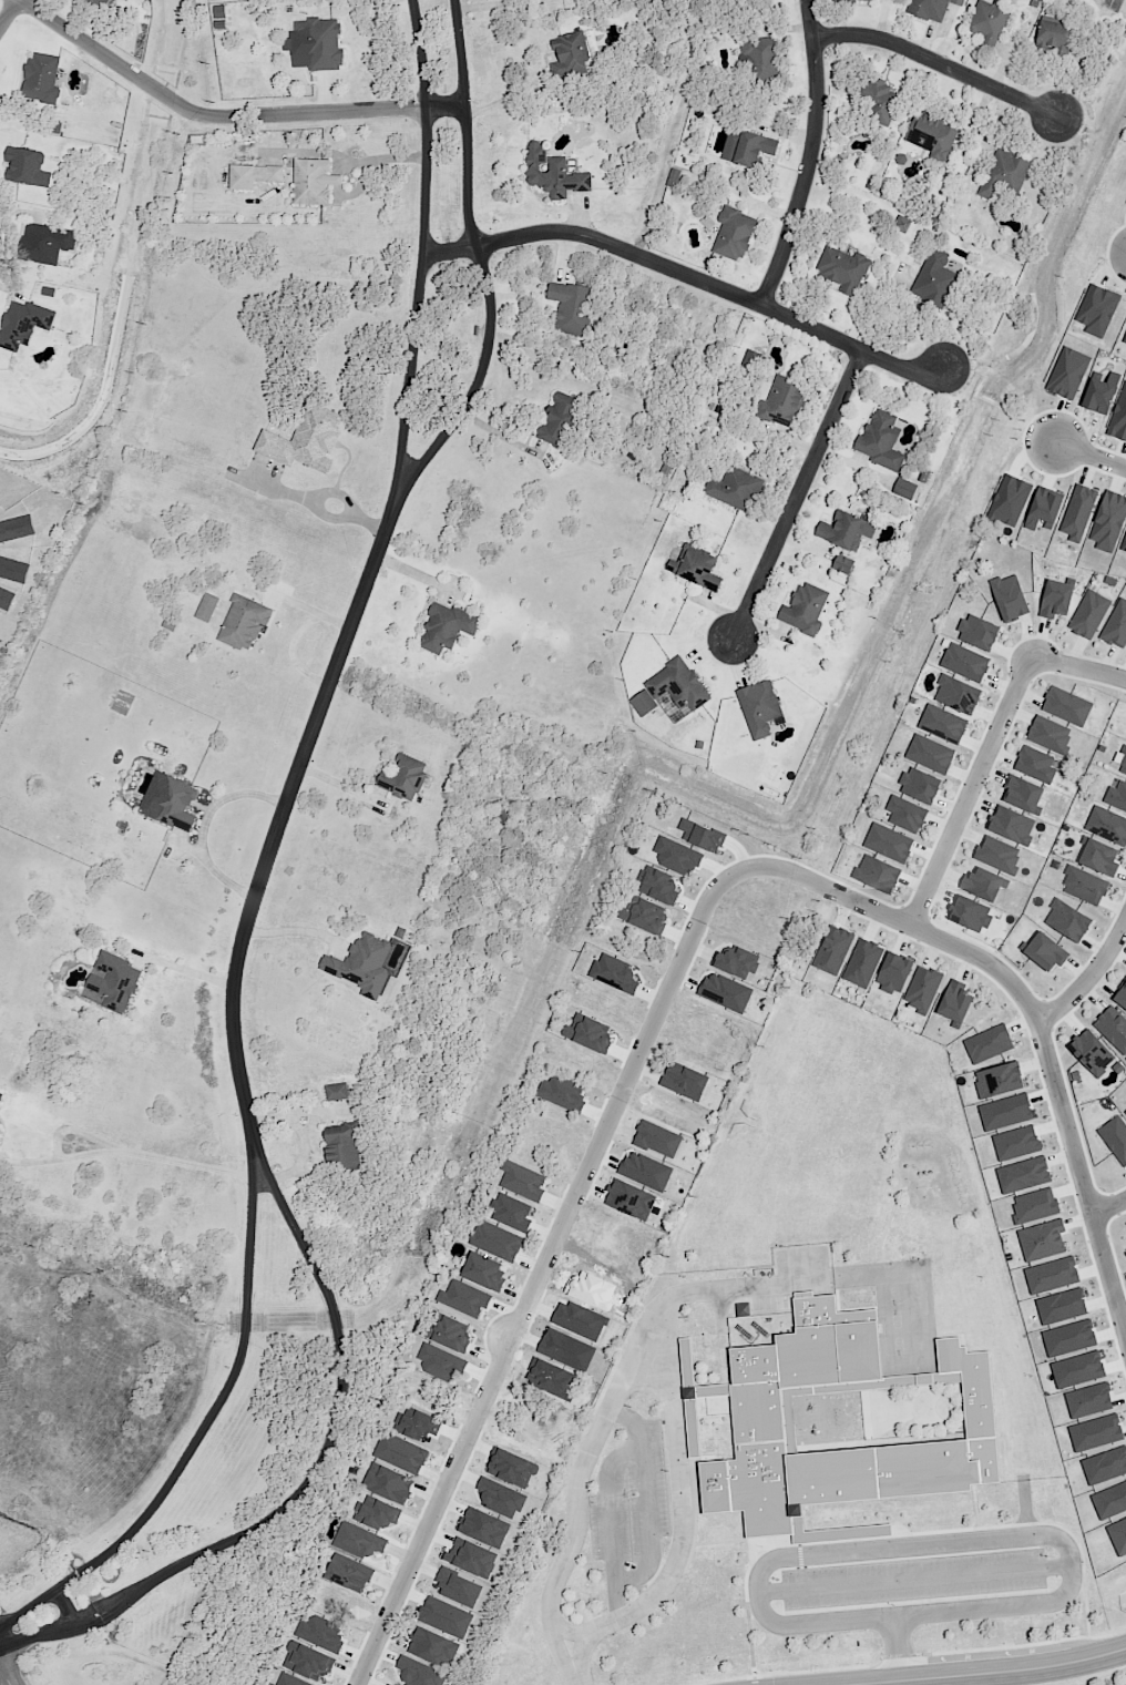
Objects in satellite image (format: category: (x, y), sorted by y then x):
building: (126, 1)
building: (857, 1)
building: (92, 4)
road: (492, 6)
building: (934, 9)
building: (218, 12)
road: (9, 13)
road: (882, 19)
building: (991, 22)
road: (784, 28)
building: (1058, 40)
road: (929, 41)
building: (324, 43)
building: (573, 58)
building: (764, 63)
road: (939, 65)
road: (1002, 67)
road: (835, 78)
building: (44, 79)
road: (1077, 86)
road: (326, 95)
road: (506, 100)
building: (879, 100)
road: (225, 119)
road: (976, 120)
road: (992, 129)
road: (787, 132)
building: (938, 136)
building: (751, 147)
road: (810, 157)
road: (387, 161)
building: (25, 167)
building: (556, 175)
building: (255, 176)
building: (1004, 176)
building: (316, 182)
road: (761, 210)
road: (755, 213)
road: (581, 216)
building: (905, 224)
building: (737, 234)
building: (48, 245)
road: (567, 255)
road: (422, 269)
building: (847, 272)
road: (688, 279)
road: (489, 280)
building: (940, 282)
road: (894, 297)
road: (538, 308)
road: (864, 310)
road: (915, 310)
building: (1097, 310)
building: (574, 312)
building: (24, 325)
building: (1124, 340)
building: (1067, 374)
building: (1101, 392)
building: (788, 402)
building: (1118, 418)
building: (565, 421)
road: (500, 436)
building: (308, 441)
road: (789, 441)
building: (886, 442)
road: (1089, 455)
road: (843, 461)
building: (739, 489)
building: (904, 489)
road: (266, 491)
road: (338, 497)
road: (798, 498)
building: (1009, 501)
building: (1043, 510)
building: (1077, 513)
road: (328, 520)
building: (1108, 521)
road: (972, 524)
road: (370, 528)
building: (851, 531)
building: (1124, 544)
road: (806, 549)
building: (842, 564)
building: (699, 569)
road: (413, 574)
building: (1014, 602)
building: (1061, 603)
building: (206, 607)
building: (810, 610)
road: (309, 611)
road: (718, 612)
building: (1092, 617)
building: (247, 623)
building: (452, 627)
building: (1117, 631)
road: (768, 632)
building: (983, 637)
road: (713, 651)
road: (294, 654)
road: (738, 663)
road: (1077, 666)
building: (970, 667)
building: (674, 690)
building: (963, 698)
building: (761, 708)
building: (1071, 709)
building: (946, 727)
building: (1053, 739)
building: (933, 757)
building: (1122, 760)
building: (1040, 770)
building: (409, 779)
road: (345, 788)
building: (924, 790)
road: (970, 792)
building: (1115, 793)
building: (1027, 798)
building: (178, 806)
building: (910, 817)
road: (281, 821)
building: (1106, 821)
road: (206, 828)
building: (1016, 828)
building: (700, 836)
building: (892, 846)
building: (1095, 849)
road: (188, 850)
building: (676, 857)
building: (1002, 859)
building: (883, 880)
building: (657, 886)
building: (986, 888)
building: (1087, 888)
building: (644, 916)
building: (974, 919)
building: (1067, 921)
road: (299, 932)
building: (838, 956)
building: (1048, 958)
building: (364, 968)
building: (741, 969)
building: (867, 969)
road: (183, 971)
building: (614, 973)
building: (899, 979)
road: (1091, 981)
building: (120, 983)
building: (725, 992)
building: (927, 995)
building: (1124, 1003)
building: (962, 1008)
road: (1033, 1013)
building: (1115, 1031)
building: (587, 1033)
building: (991, 1048)
building: (1097, 1058)
park: (820, 1074)
building: (999, 1081)
building: (685, 1082)
building: (339, 1092)
building: (562, 1094)
building: (2, 1099)
building: (1125, 1113)
road: (288, 1115)
building: (546, 1122)
building: (1, 1133)
road: (79, 1133)
building: (656, 1137)
building: (1115, 1138)
road: (305, 1141)
building: (1015, 1143)
building: (346, 1151)
road: (127, 1154)
building: (645, 1172)
road: (291, 1173)
building: (1022, 1175)
building: (522, 1182)
park: (772, 1196)
building: (629, 1198)
road: (1109, 1205)
building: (1034, 1206)
building: (510, 1213)
building: (495, 1240)
building: (1042, 1240)
building: (1125, 1254)
road: (544, 1267)
building: (1051, 1276)
building: (489, 1277)
building: (591, 1289)
road: (700, 1293)
building: (463, 1298)
building: (1061, 1307)
building: (451, 1335)
building: (1068, 1338)
building: (441, 1362)
building: (1077, 1370)
building: (949, 1377)
road: (229, 1387)
building: (1088, 1401)
building: (760, 1419)
road: (334, 1433)
building: (1095, 1433)
building: (400, 1453)
building: (1105, 1466)
building: (388, 1483)
road: (646, 1499)
building: (1110, 1501)
road: (1025, 1507)
parking lot: (629, 1509)
building: (385, 1519)
road: (607, 1522)
road: (575, 1534)
road: (683, 1536)
building: (1118, 1536)
building: (361, 1544)
road: (915, 1549)
building: (354, 1574)
parking lot: (914, 1580)
road: (913, 1581)
building: (458, 1589)
road: (66, 1610)
road: (25, 1612)
building: (444, 1617)
road: (565, 1631)
building: (320, 1633)
road: (38, 1637)
road: (890, 1640)
building: (432, 1647)
road: (903, 1647)
building: (307, 1662)
building: (418, 1673)
road: (1003, 1674)
road: (3, 1675)
road: (1109, 1677)
building: (290, 1681)
building: (270, 1684)

